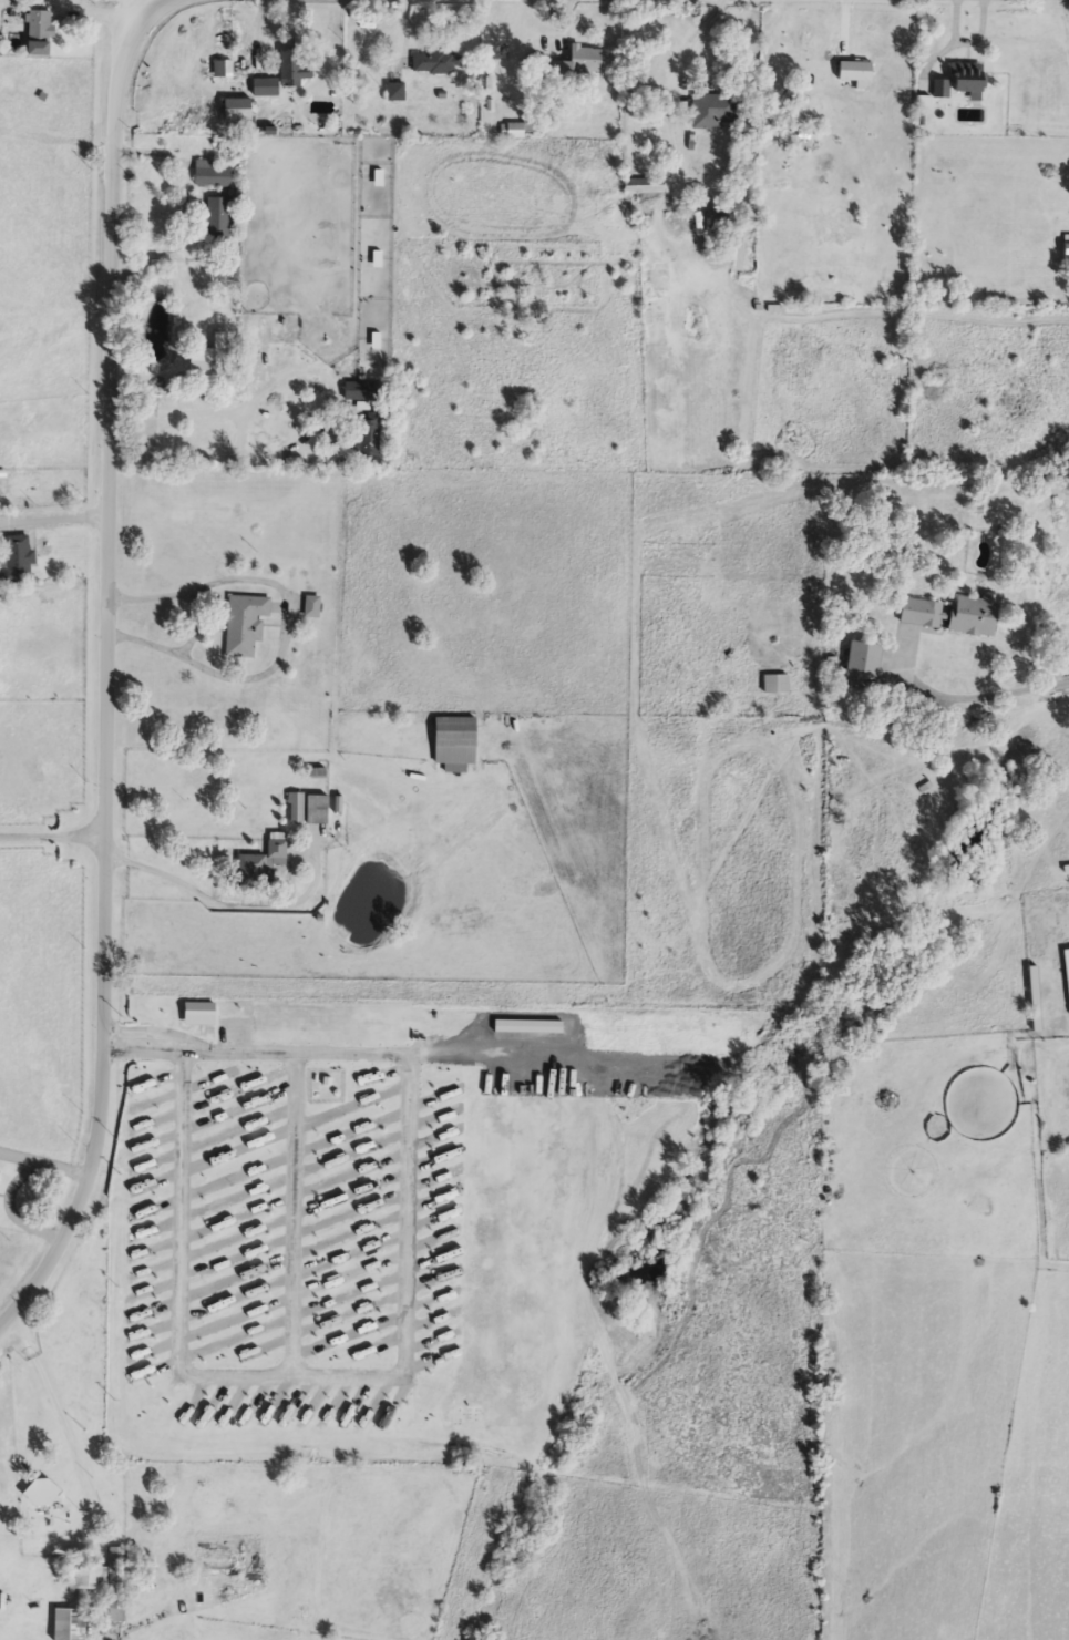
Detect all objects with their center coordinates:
road: (146, 3)
building: (41, 33)
building: (434, 63)
building: (290, 64)
building: (579, 64)
building: (962, 83)
building: (395, 94)
building: (251, 103)
building: (366, 109)
building: (712, 112)
building: (210, 176)
building: (645, 187)
building: (216, 219)
building: (1065, 248)
building: (366, 340)
building: (210, 362)
building: (361, 392)
road: (230, 412)
building: (366, 437)
road: (250, 458)
road: (53, 521)
building: (18, 560)
building: (311, 607)
building: (919, 614)
building: (972, 617)
building: (245, 625)
road: (287, 625)
building: (861, 660)
road: (104, 668)
building: (778, 686)
road: (989, 697)
building: (458, 744)
building: (319, 811)
road: (50, 840)
building: (263, 864)
road: (255, 906)
building: (1067, 966)
building: (1037, 1001)
road: (50, 1160)
building: (0, 1173)
road: (13, 1209)
road: (290, 1210)
road: (401, 1326)
road: (62, 1408)
building: (50, 1498)
building: (117, 1599)

